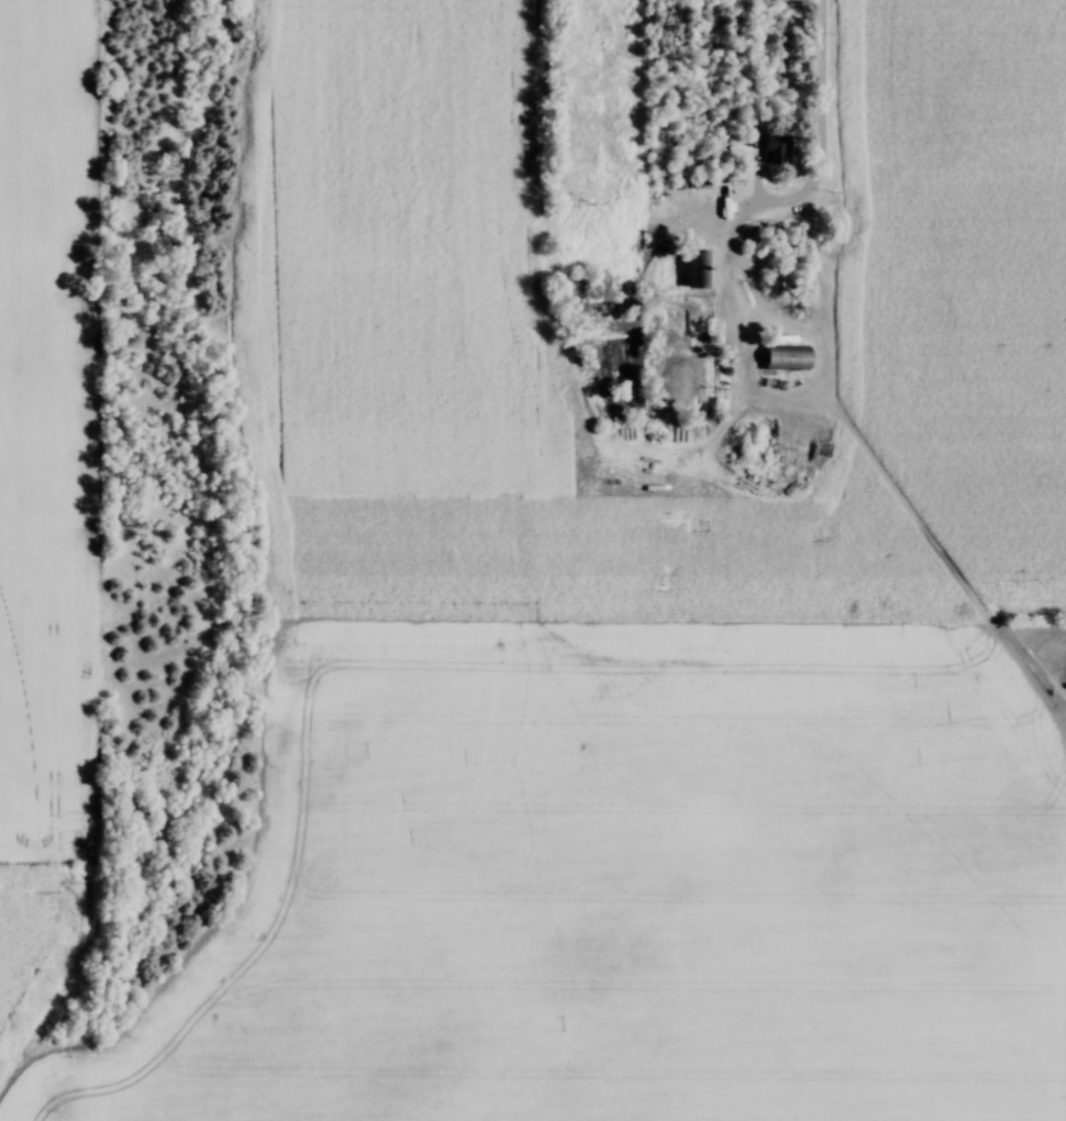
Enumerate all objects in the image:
road: (813, 127)
building: (779, 149)
building: (708, 273)
building: (793, 357)

